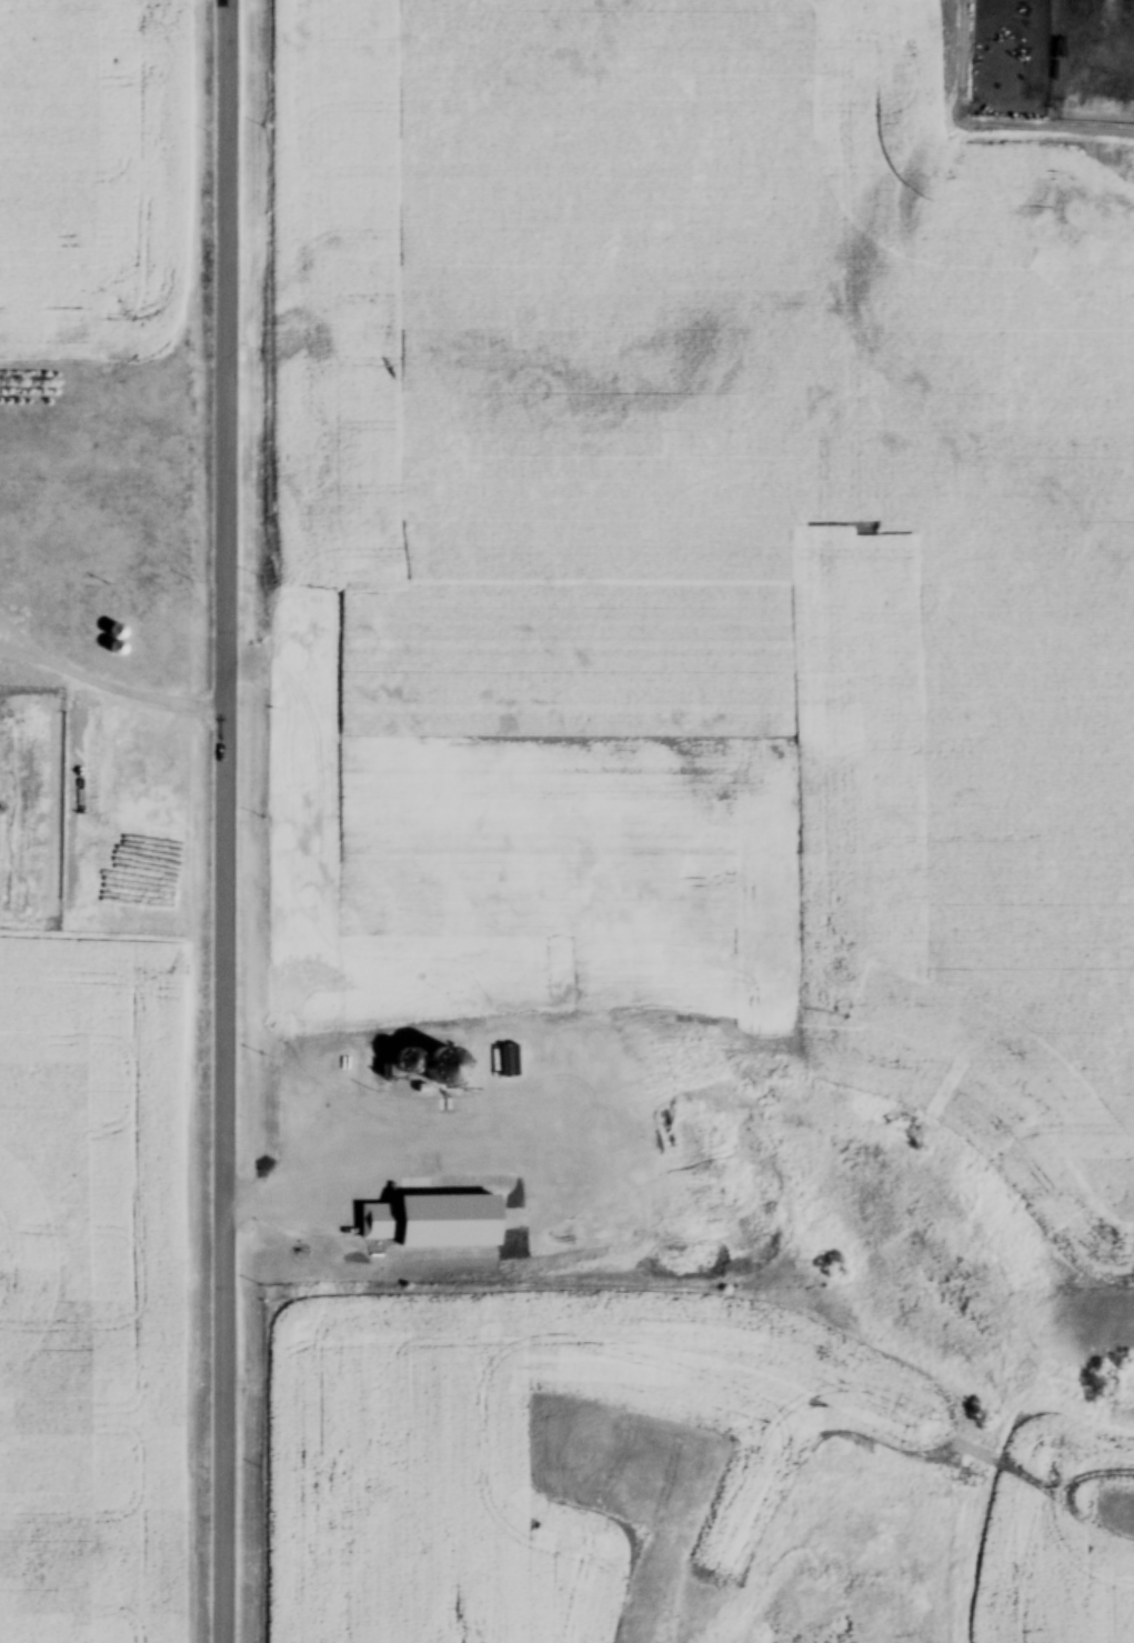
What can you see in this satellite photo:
road: (32, 619)
building: (116, 642)
road: (225, 821)

